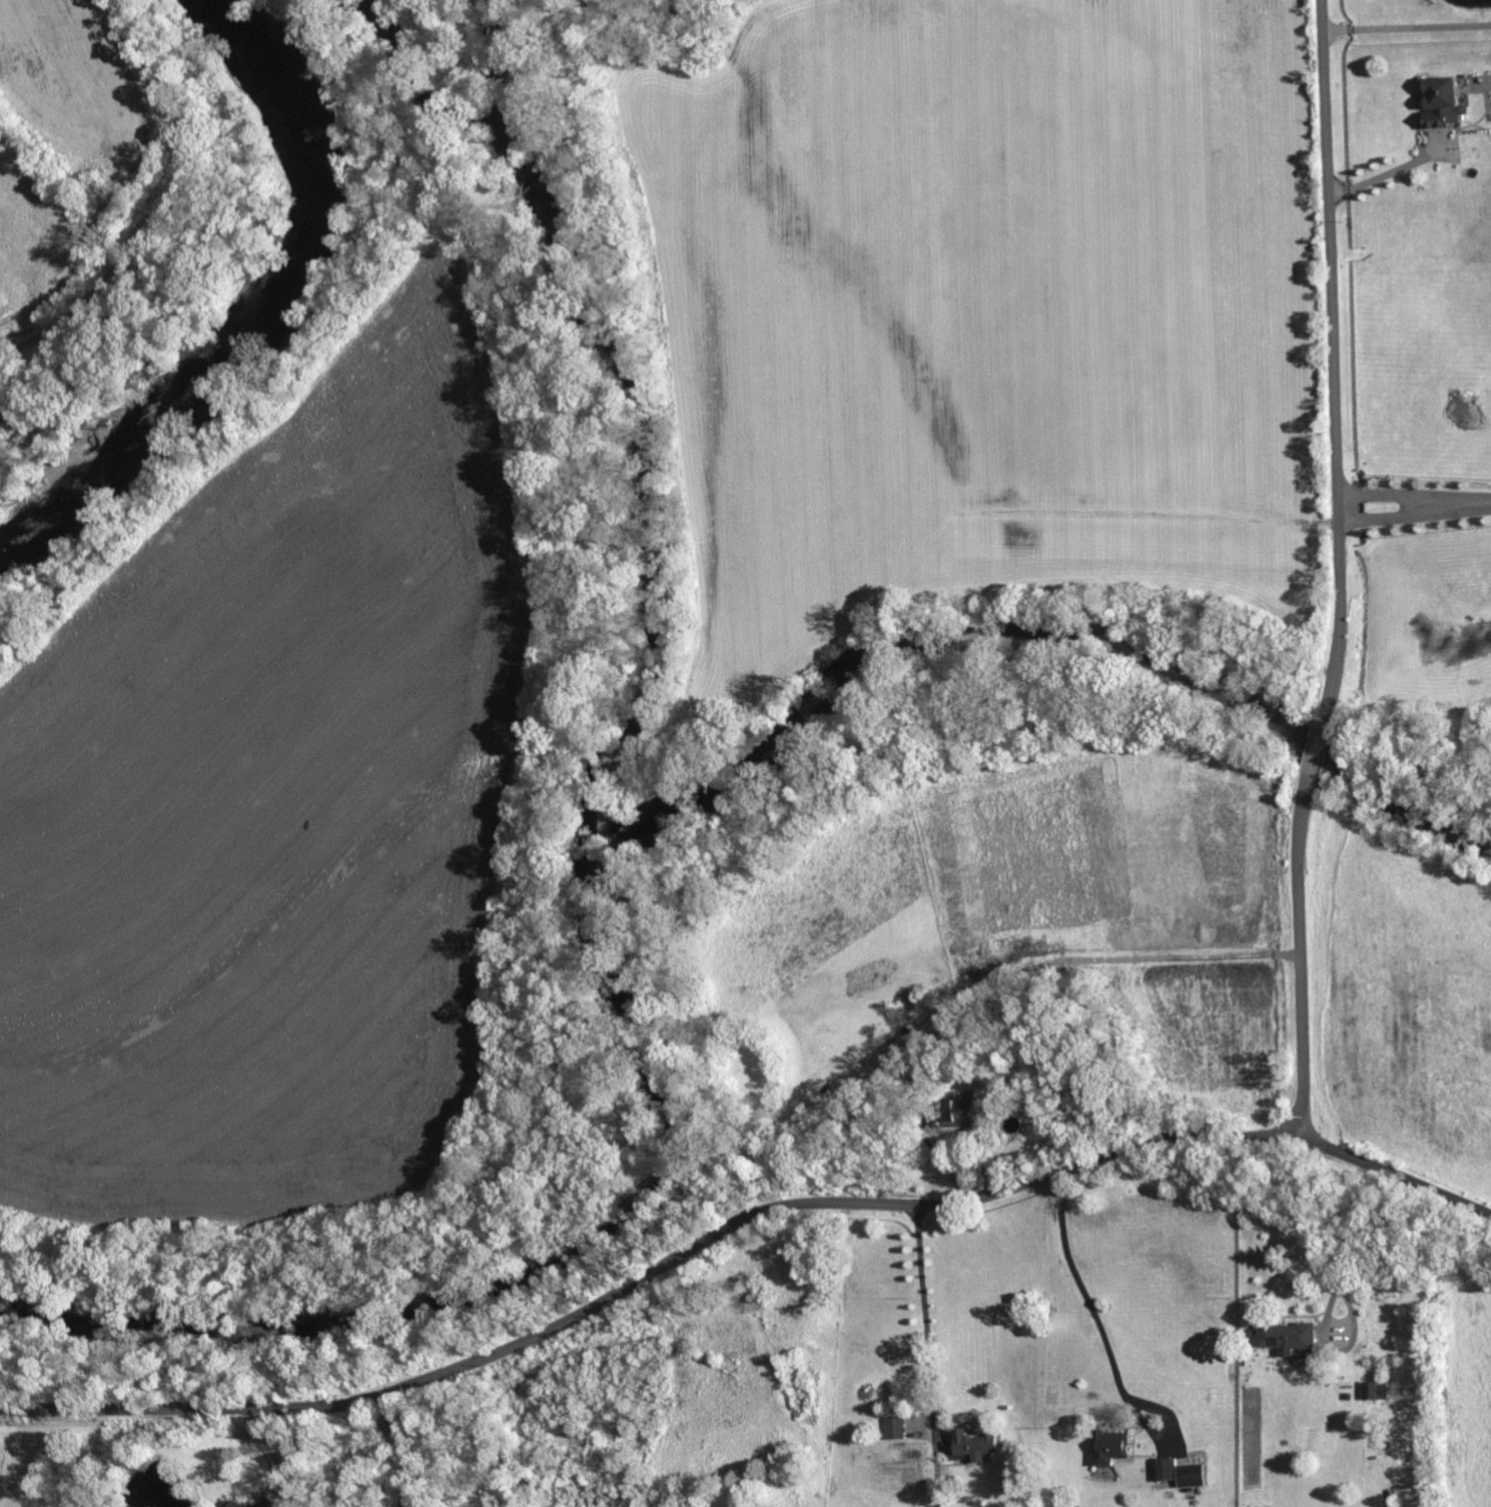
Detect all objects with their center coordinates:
road: (1404, 26)
building: (1444, 103)
road: (1380, 174)
road: (162, 201)
river: (254, 294)
road: (1411, 492)
road: (1338, 573)
park: (305, 768)
river: (599, 867)
building: (940, 1042)
building: (1018, 1058)
building: (889, 1094)
building: (958, 1113)
road: (1394, 1173)
road: (1349, 1238)
road: (648, 1276)
road: (1088, 1303)
road: (917, 1314)
building: (1289, 1335)
building: (1373, 1391)
building: (894, 1428)
building: (974, 1442)
building: (1109, 1447)
building: (1171, 1469)
building: (1189, 1477)
building: (275, 1503)
building: (231, 1504)
building: (240, 1504)

